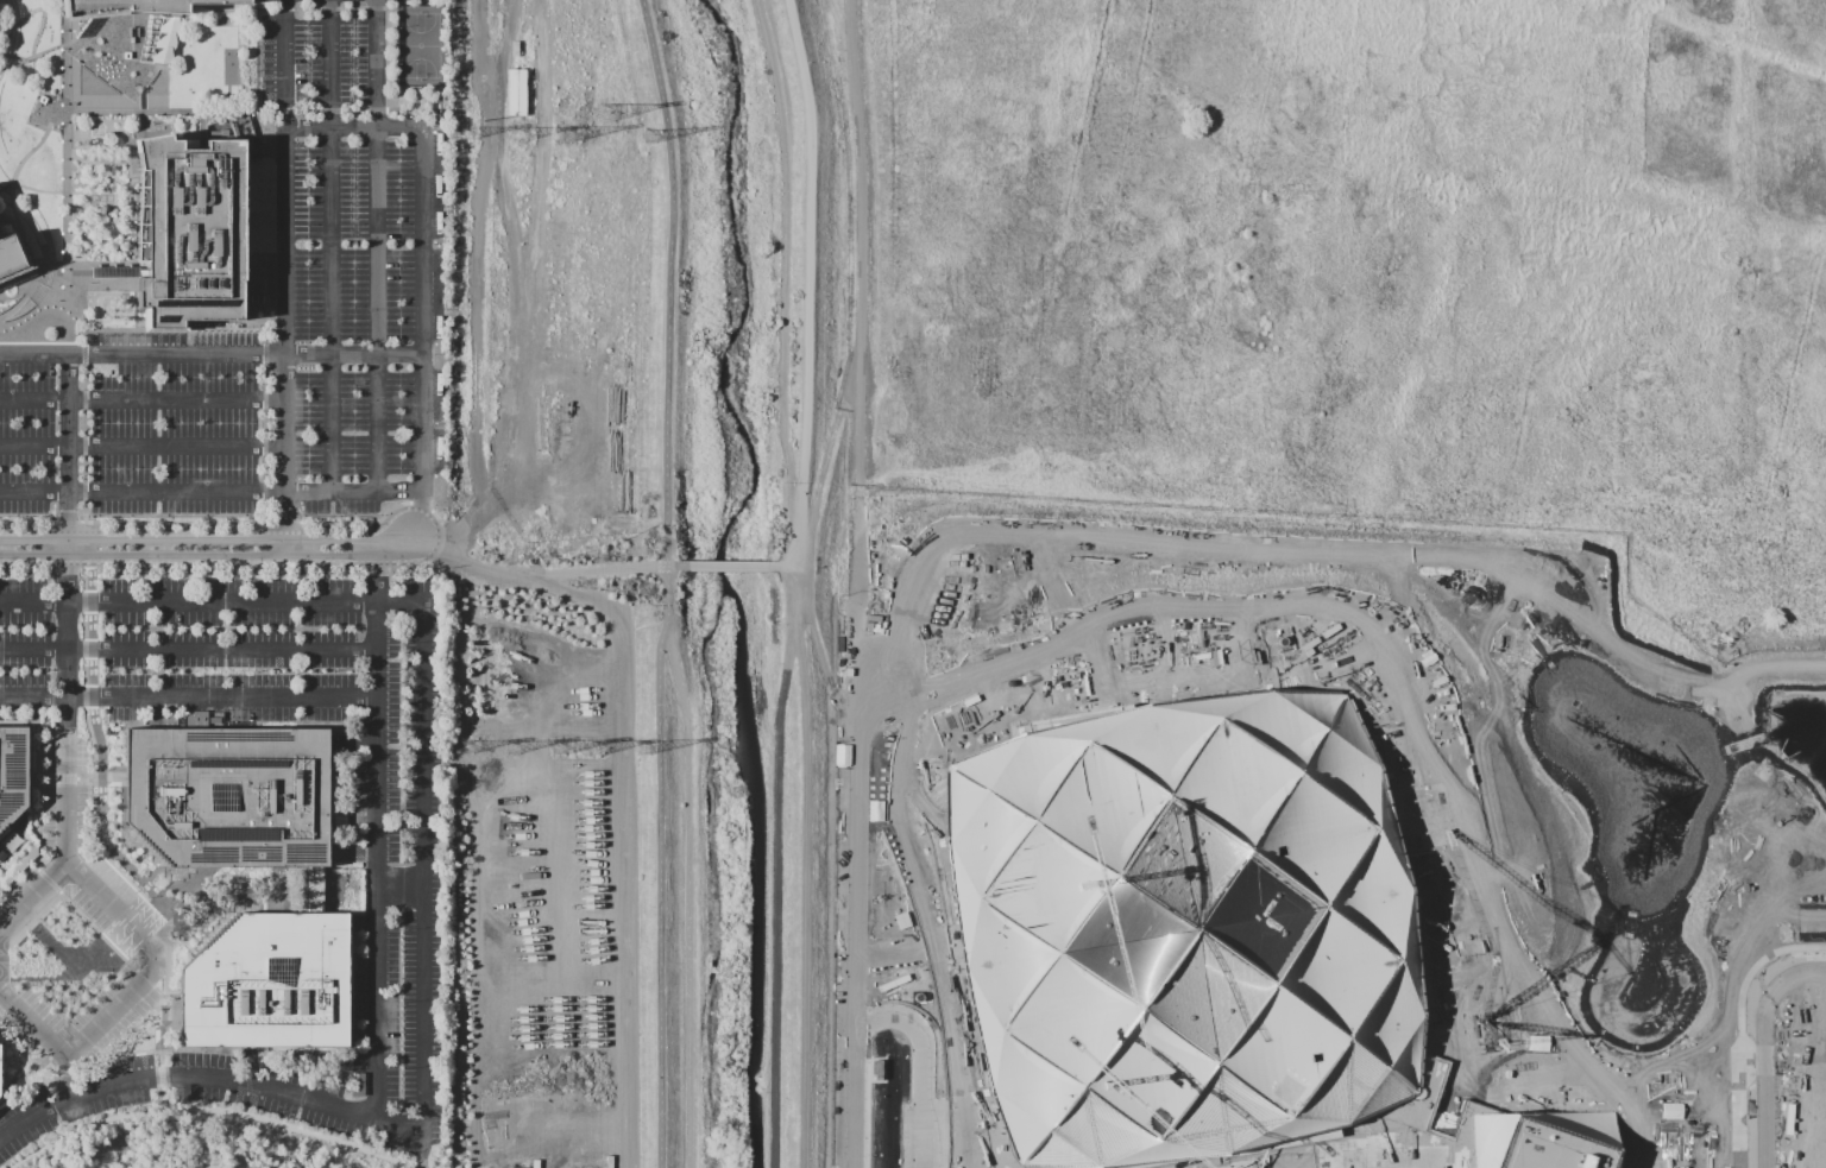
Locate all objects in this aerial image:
building: (139, 5)
road: (329, 8)
road: (56, 10)
road: (260, 23)
road: (34, 44)
park: (422, 45)
road: (67, 48)
road: (33, 58)
road: (94, 72)
road: (144, 100)
road: (77, 101)
road: (348, 111)
road: (166, 112)
power tower: (606, 112)
road: (144, 119)
road: (277, 124)
road: (203, 131)
power tower: (465, 132)
power tower: (520, 133)
power tower: (566, 133)
power tower: (650, 134)
road: (137, 139)
road: (541, 140)
road: (102, 168)
road: (14, 176)
road: (287, 176)
street lamp: (354, 187)
street lamp: (401, 187)
road: (68, 192)
road: (68, 194)
road: (13, 221)
street lamp: (308, 226)
street lamp: (354, 226)
street lamp: (399, 226)
building: (190, 231)
road: (102, 233)
road: (377, 245)
road: (332, 246)
building: (10, 254)
parking lot: (353, 266)
street lamp: (309, 269)
street lamp: (354, 269)
street lamp: (401, 269)
building: (114, 271)
building: (17, 276)
road: (787, 280)
road: (863, 283)
road: (134, 292)
road: (21, 297)
road: (525, 299)
street lamp: (399, 307)
street lamp: (308, 308)
street lamp: (354, 308)
road: (137, 311)
road: (140, 311)
road: (158, 330)
road: (273, 332)
street lamp: (354, 342)
street lamp: (401, 342)
street lamp: (309, 343)
road: (177, 353)
road: (355, 353)
road: (34, 354)
street lamp: (309, 385)
street lamp: (354, 385)
street lamp: (401, 385)
road: (69, 392)
road: (143, 399)
road: (86, 416)
street lamp: (308, 424)
street lamp: (354, 424)
street lamp: (401, 424)
parking lot: (144, 428)
road: (266, 428)
road: (144, 444)
road: (829, 448)
road: (424, 449)
road: (288, 454)
street lamp: (354, 467)
street lamp: (401, 467)
street lamp: (309, 468)
road: (420, 509)
road: (374, 522)
road: (133, 523)
road: (188, 536)
road: (395, 545)
road: (69, 547)
road: (221, 556)
road: (33, 557)
road: (787, 564)
road: (731, 566)
road: (544, 574)
road: (665, 582)
road: (801, 582)
road: (187, 649)
road: (820, 667)
street lamp: (44, 670)
street lamp: (113, 671)
street lamp: (189, 671)
street lamp: (262, 671)
street lamp: (334, 671)
road: (1756, 673)
road: (424, 678)
road: (187, 695)
road: (68, 709)
road: (1411, 741)
power tower: (468, 746)
power tower: (561, 747)
power tower: (514, 749)
power tower: (598, 749)
power tower: (644, 749)
building: (13, 774)
road: (108, 775)
road: (67, 779)
road: (33, 783)
building: (226, 796)
building: (1824, 841)
road: (850, 866)
building: (13, 870)
parking lot: (68, 870)
road: (276, 877)
road: (1, 889)
road: (399, 889)
building: (1803, 889)
building: (311, 891)
road: (32, 896)
building: (1819, 901)
road: (17, 910)
road: (238, 915)
road: (107, 918)
street lamp: (402, 930)
building: (1184, 932)
road: (157, 942)
building: (1641, 945)
road: (191, 948)
road: (158, 958)
building: (1467, 961)
building: (264, 985)
road: (166, 986)
road: (171, 987)
road: (38, 995)
road: (26, 999)
road: (107, 999)
street lamp: (402, 1003)
building: (1816, 1009)
parking garage: (1816, 1009)
road: (33, 1023)
road: (376, 1030)
road: (1763, 1047)
road: (153, 1057)
road: (147, 1069)
street lamp: (402, 1069)
road: (68, 1078)
road: (207, 1109)
building: (1807, 1109)
parking garage: (1807, 1109)
building: (1532, 1137)
road: (413, 1148)
building: (1807, 1163)
parking garage: (1807, 1163)

